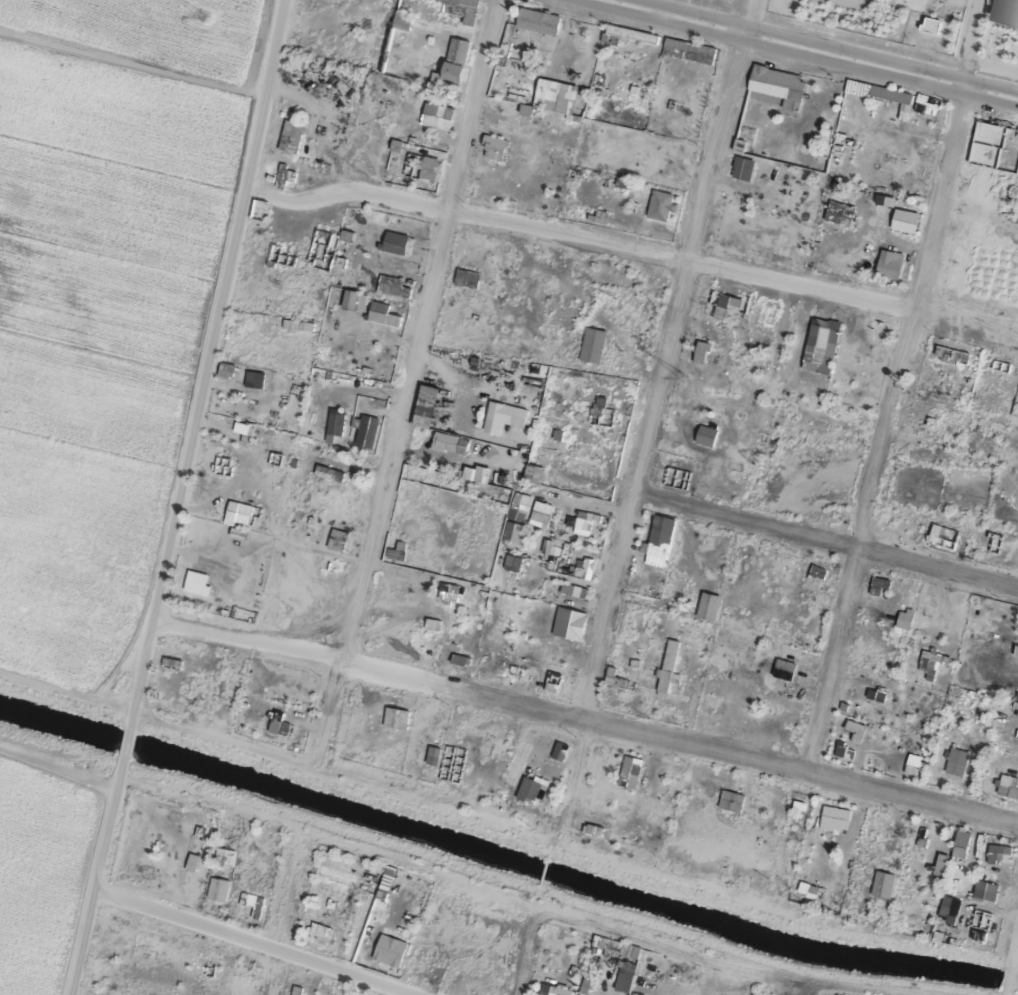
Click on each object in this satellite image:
road: (824, 47)
road: (780, 58)
road: (399, 386)
road: (887, 389)
road: (641, 422)
road: (820, 548)
road: (580, 730)
road: (1012, 942)

